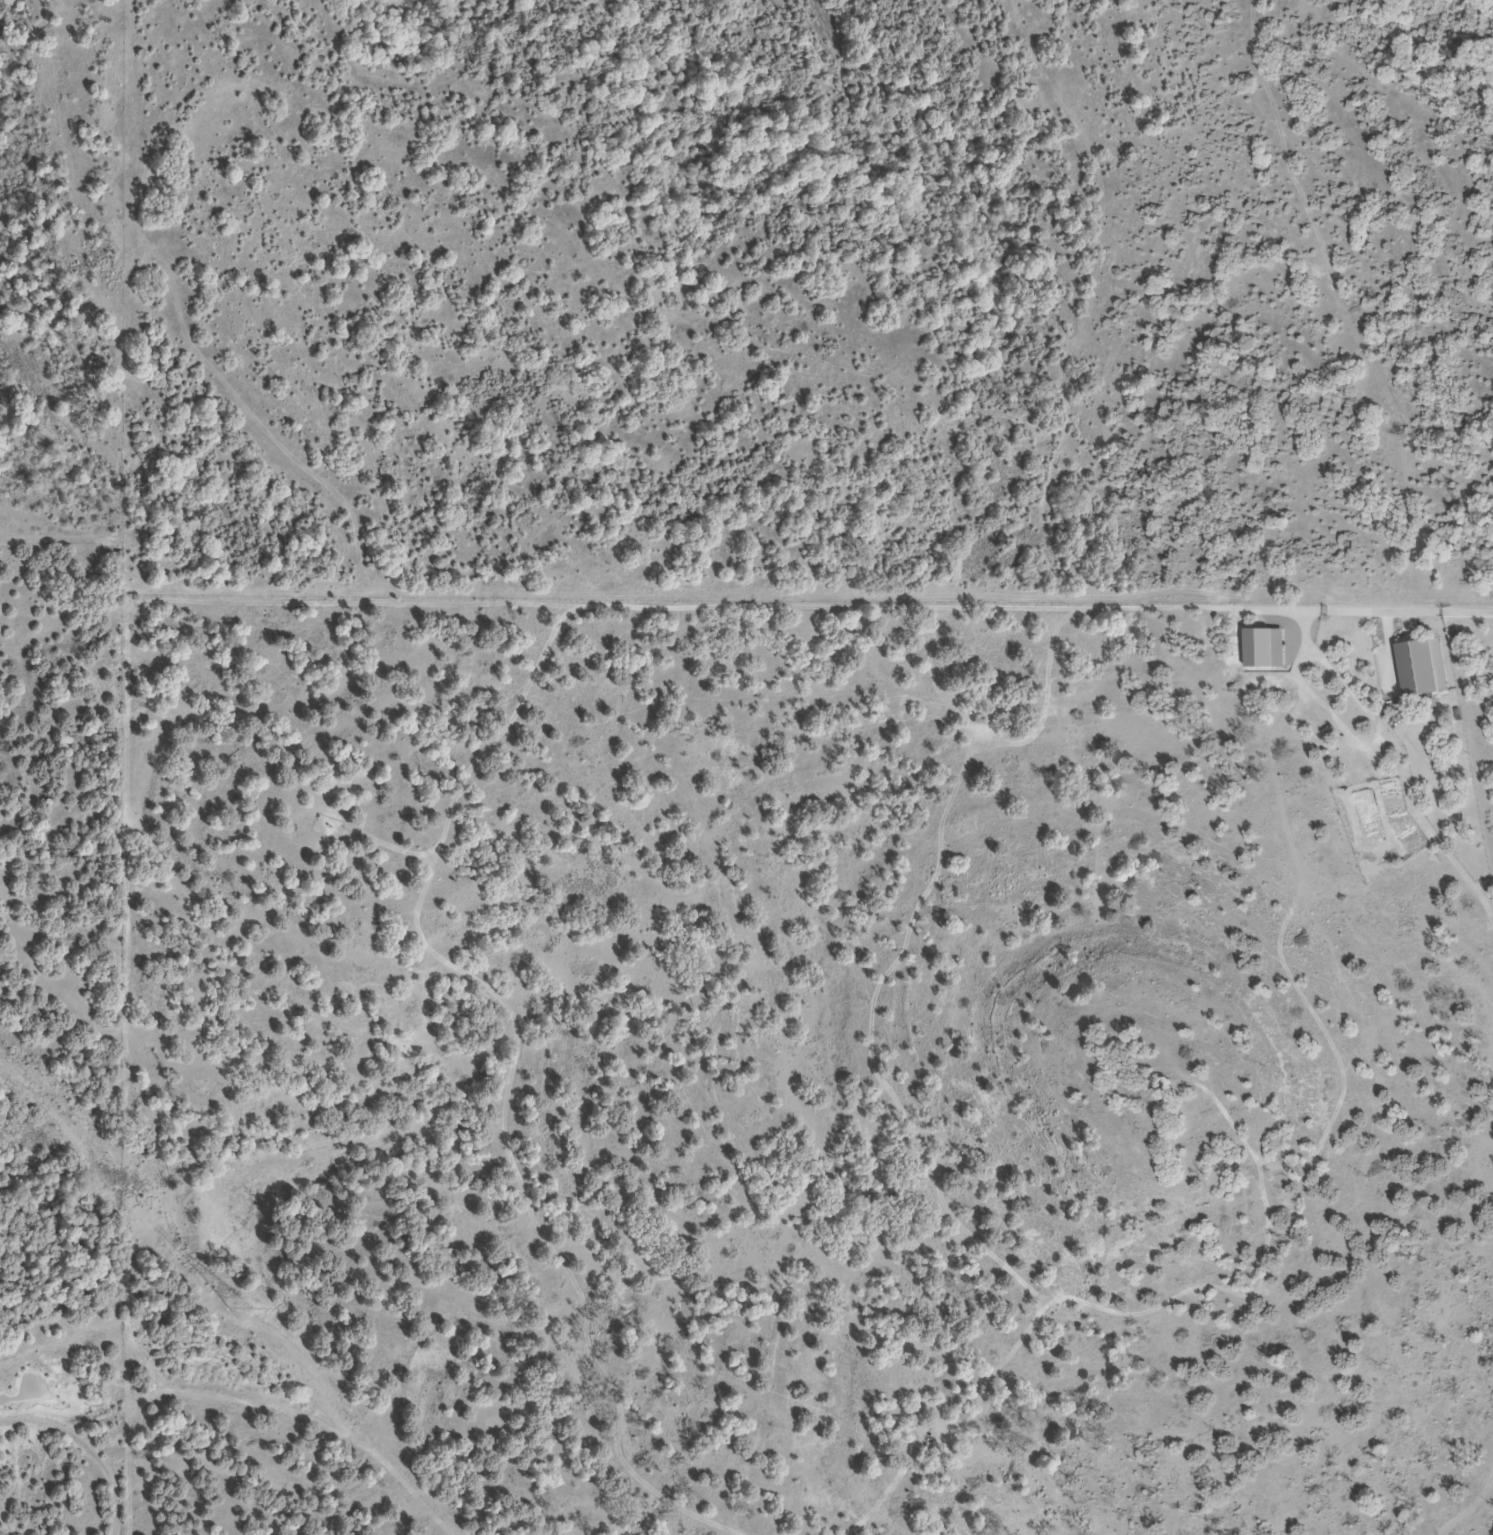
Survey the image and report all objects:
road: (1405, 615)
building: (1409, 669)
power tower: (228, 1311)
road: (90, 1446)

